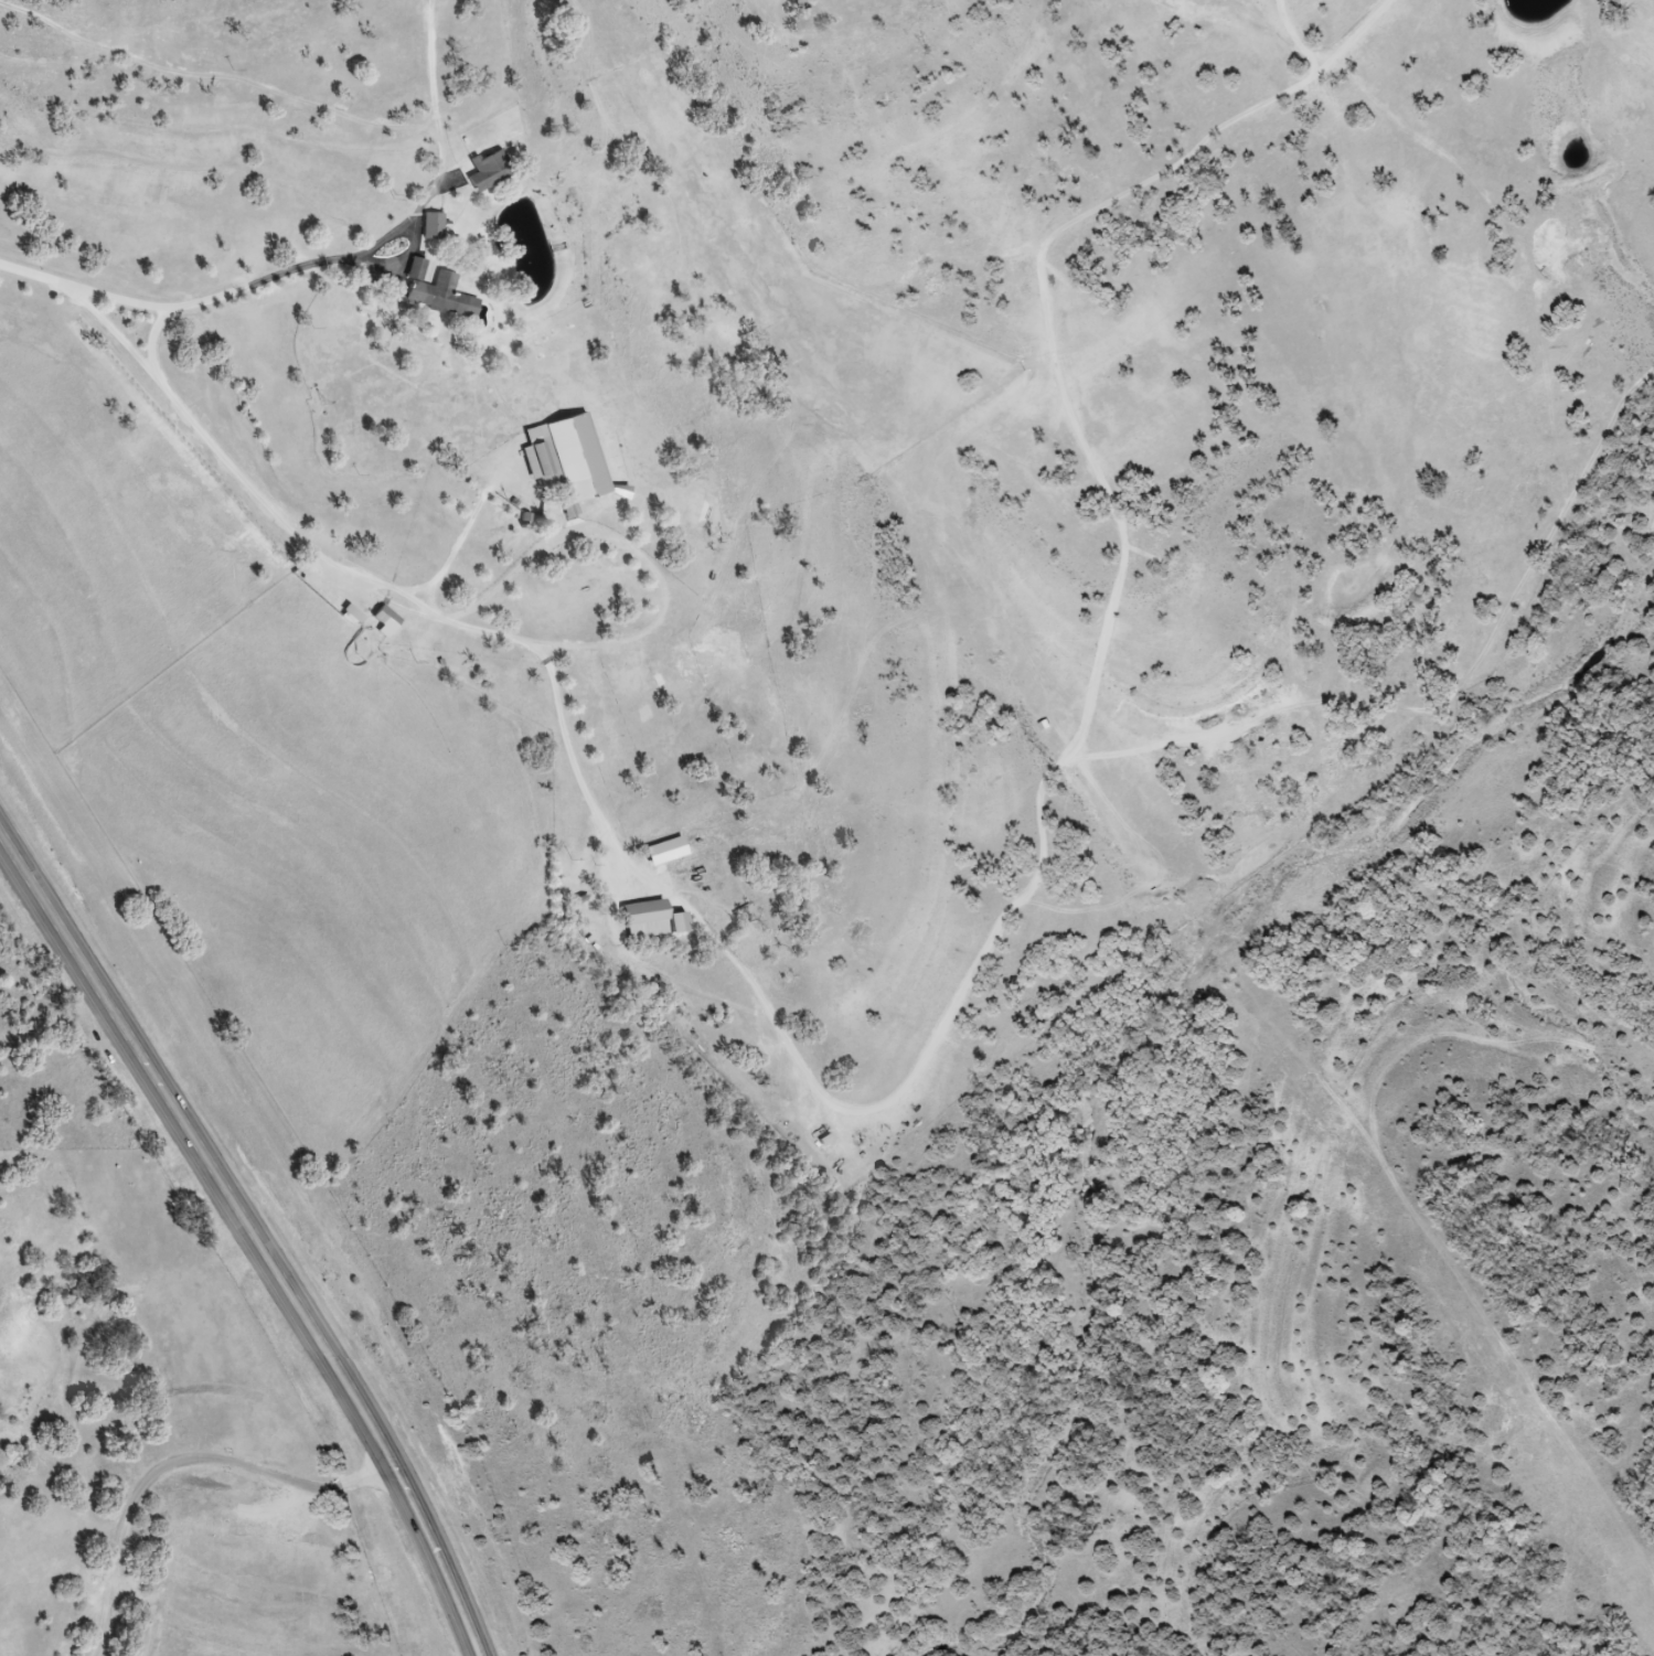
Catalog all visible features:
road: (1301, 40)
building: (493, 171)
building: (436, 226)
road: (87, 293)
building: (440, 293)
building: (547, 464)
building: (355, 617)
building: (391, 622)
building: (660, 916)
road: (790, 1035)
road: (266, 1230)

